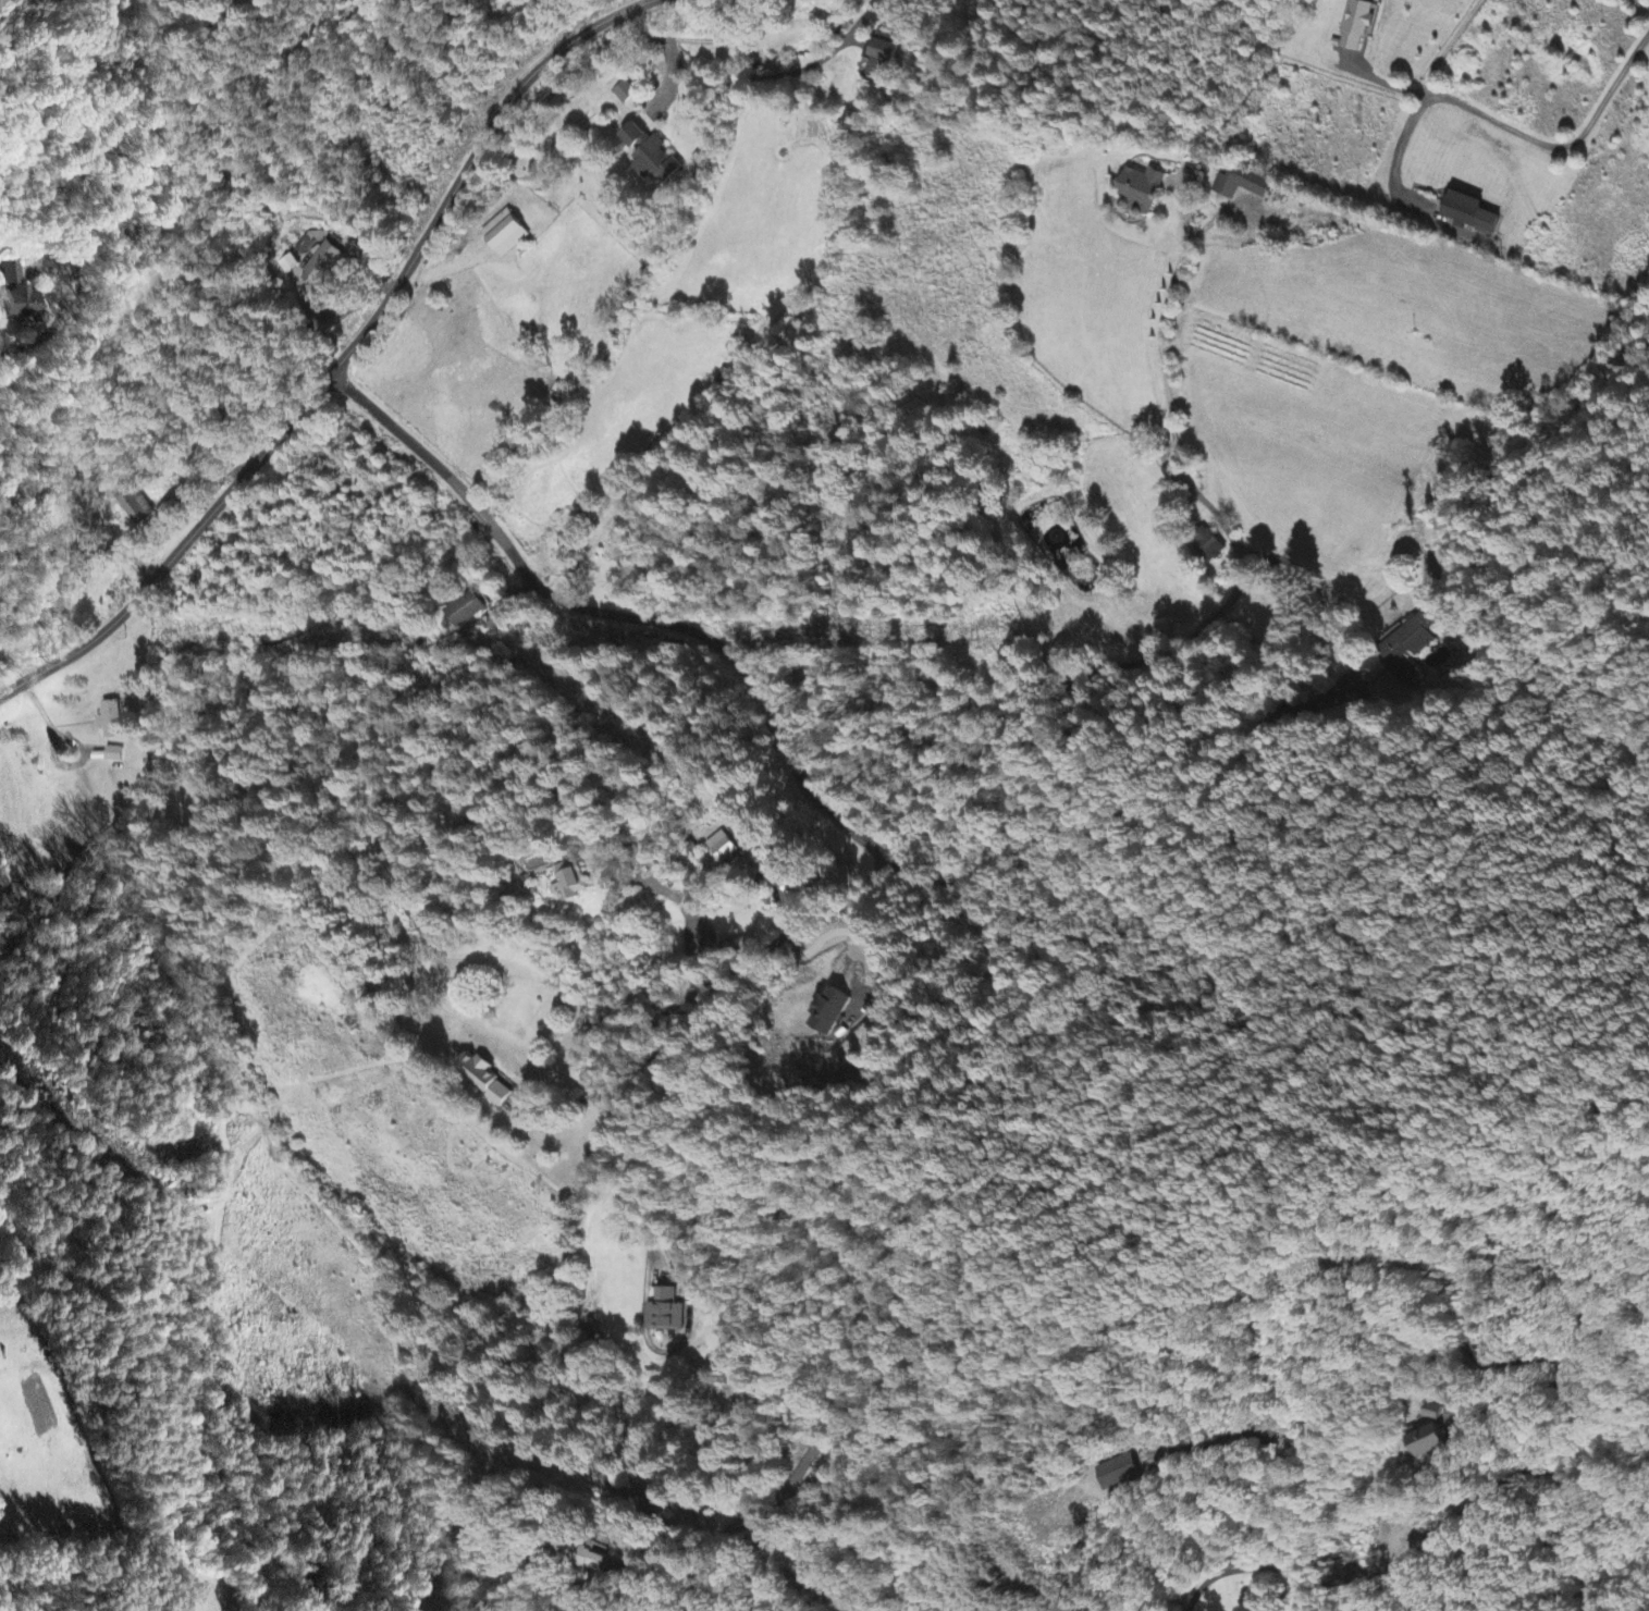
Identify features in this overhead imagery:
park: (241, 5)
building: (877, 9)
building: (1356, 27)
road: (1449, 44)
building: (881, 59)
building: (624, 93)
road: (1562, 146)
building: (650, 157)
building: (1242, 185)
building: (1142, 190)
building: (1470, 216)
building: (504, 235)
building: (302, 246)
building: (286, 265)
building: (321, 267)
building: (19, 296)
road: (341, 358)
road: (426, 455)
building: (134, 506)
building: (1207, 546)
building: (1074, 556)
building: (464, 612)
building: (1408, 647)
road: (731, 656)
building: (109, 721)
road: (1034, 733)
building: (112, 755)
building: (724, 848)
building: (569, 882)
road: (713, 912)
building: (828, 1011)
road: (628, 1059)
building: (481, 1079)
road: (639, 1117)
building: (665, 1313)
building: (1435, 1413)
road: (1575, 1417)
building: (1430, 1442)
building: (811, 1469)
building: (1119, 1473)
road: (713, 1538)
building: (590, 1558)
road: (1209, 1577)

